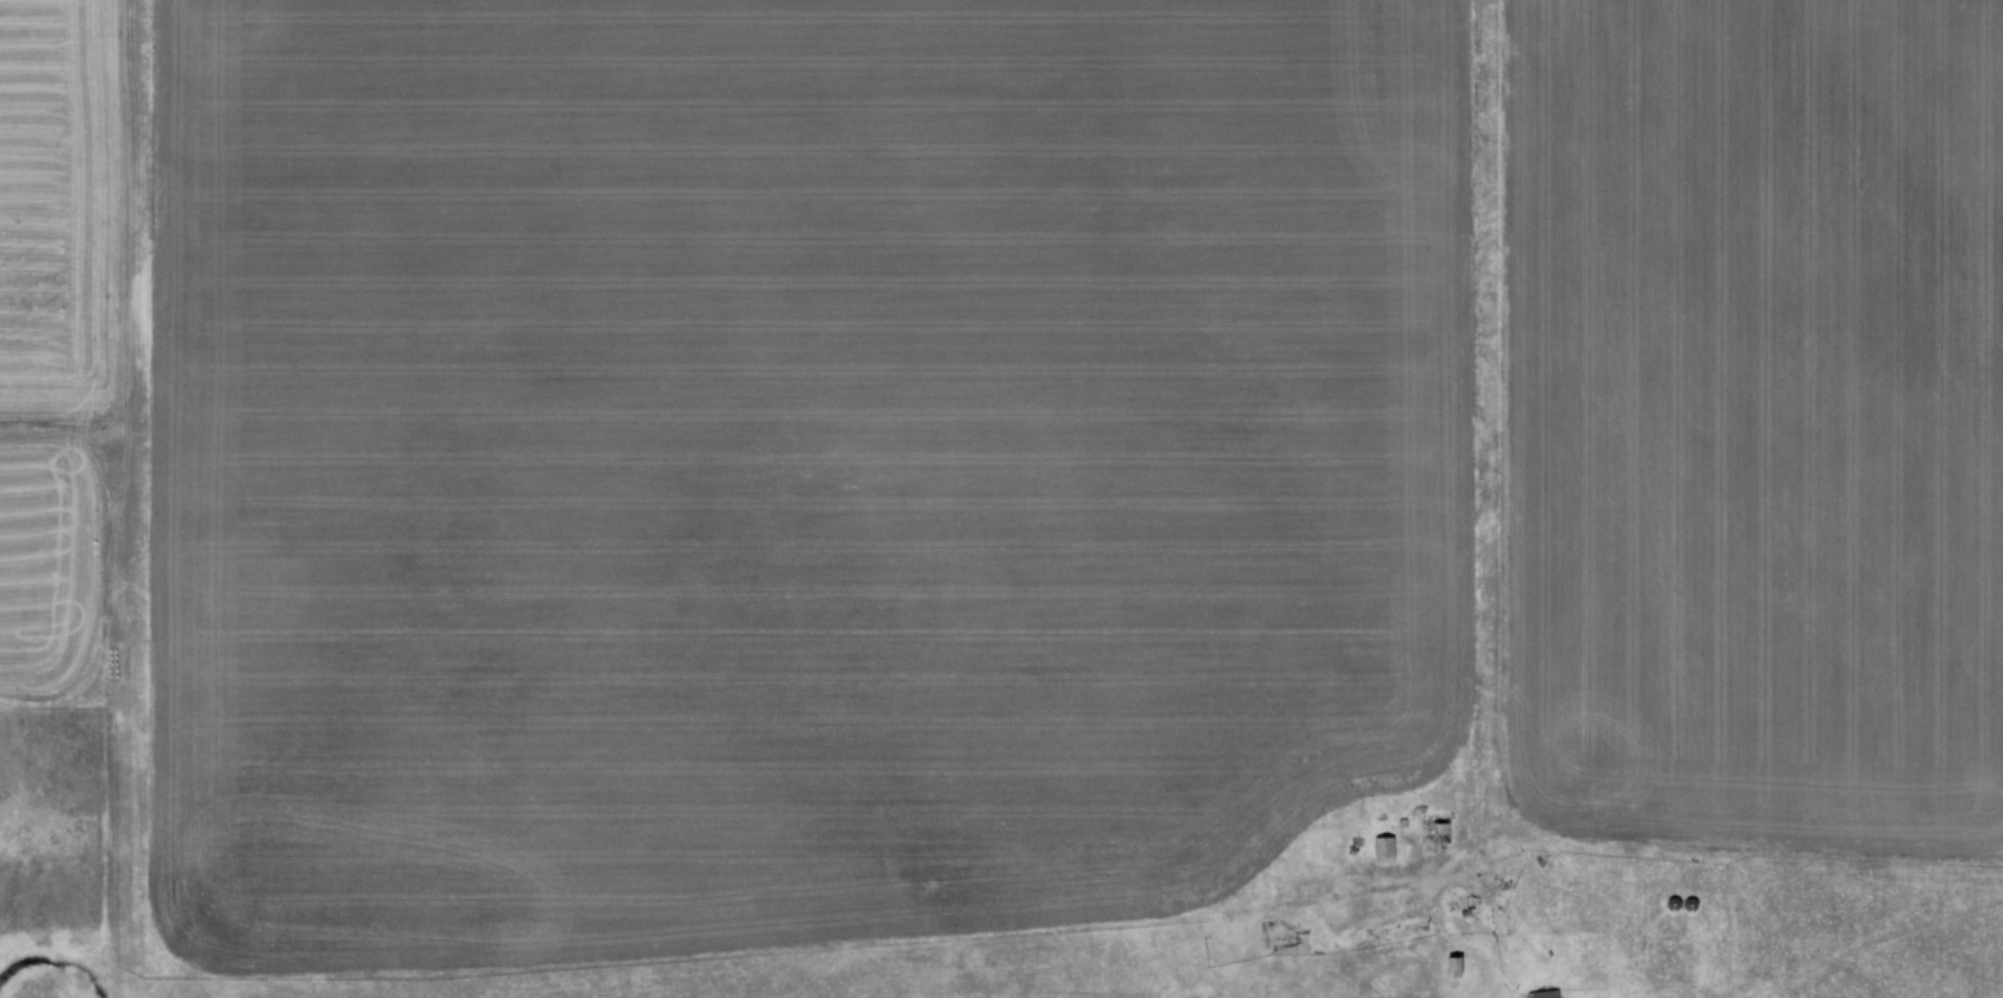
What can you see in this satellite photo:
road: (1483, 522)
building: (1280, 931)
building: (1538, 995)

